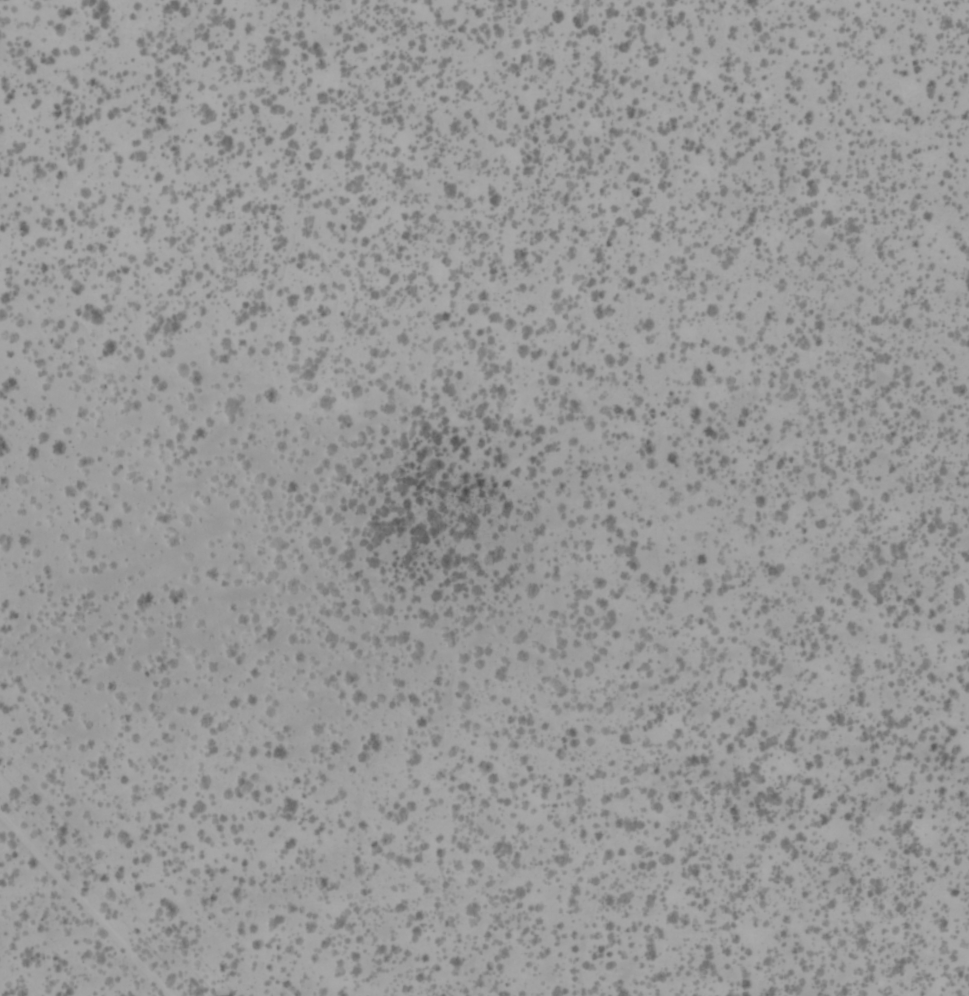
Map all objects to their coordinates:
road: (86, 904)

